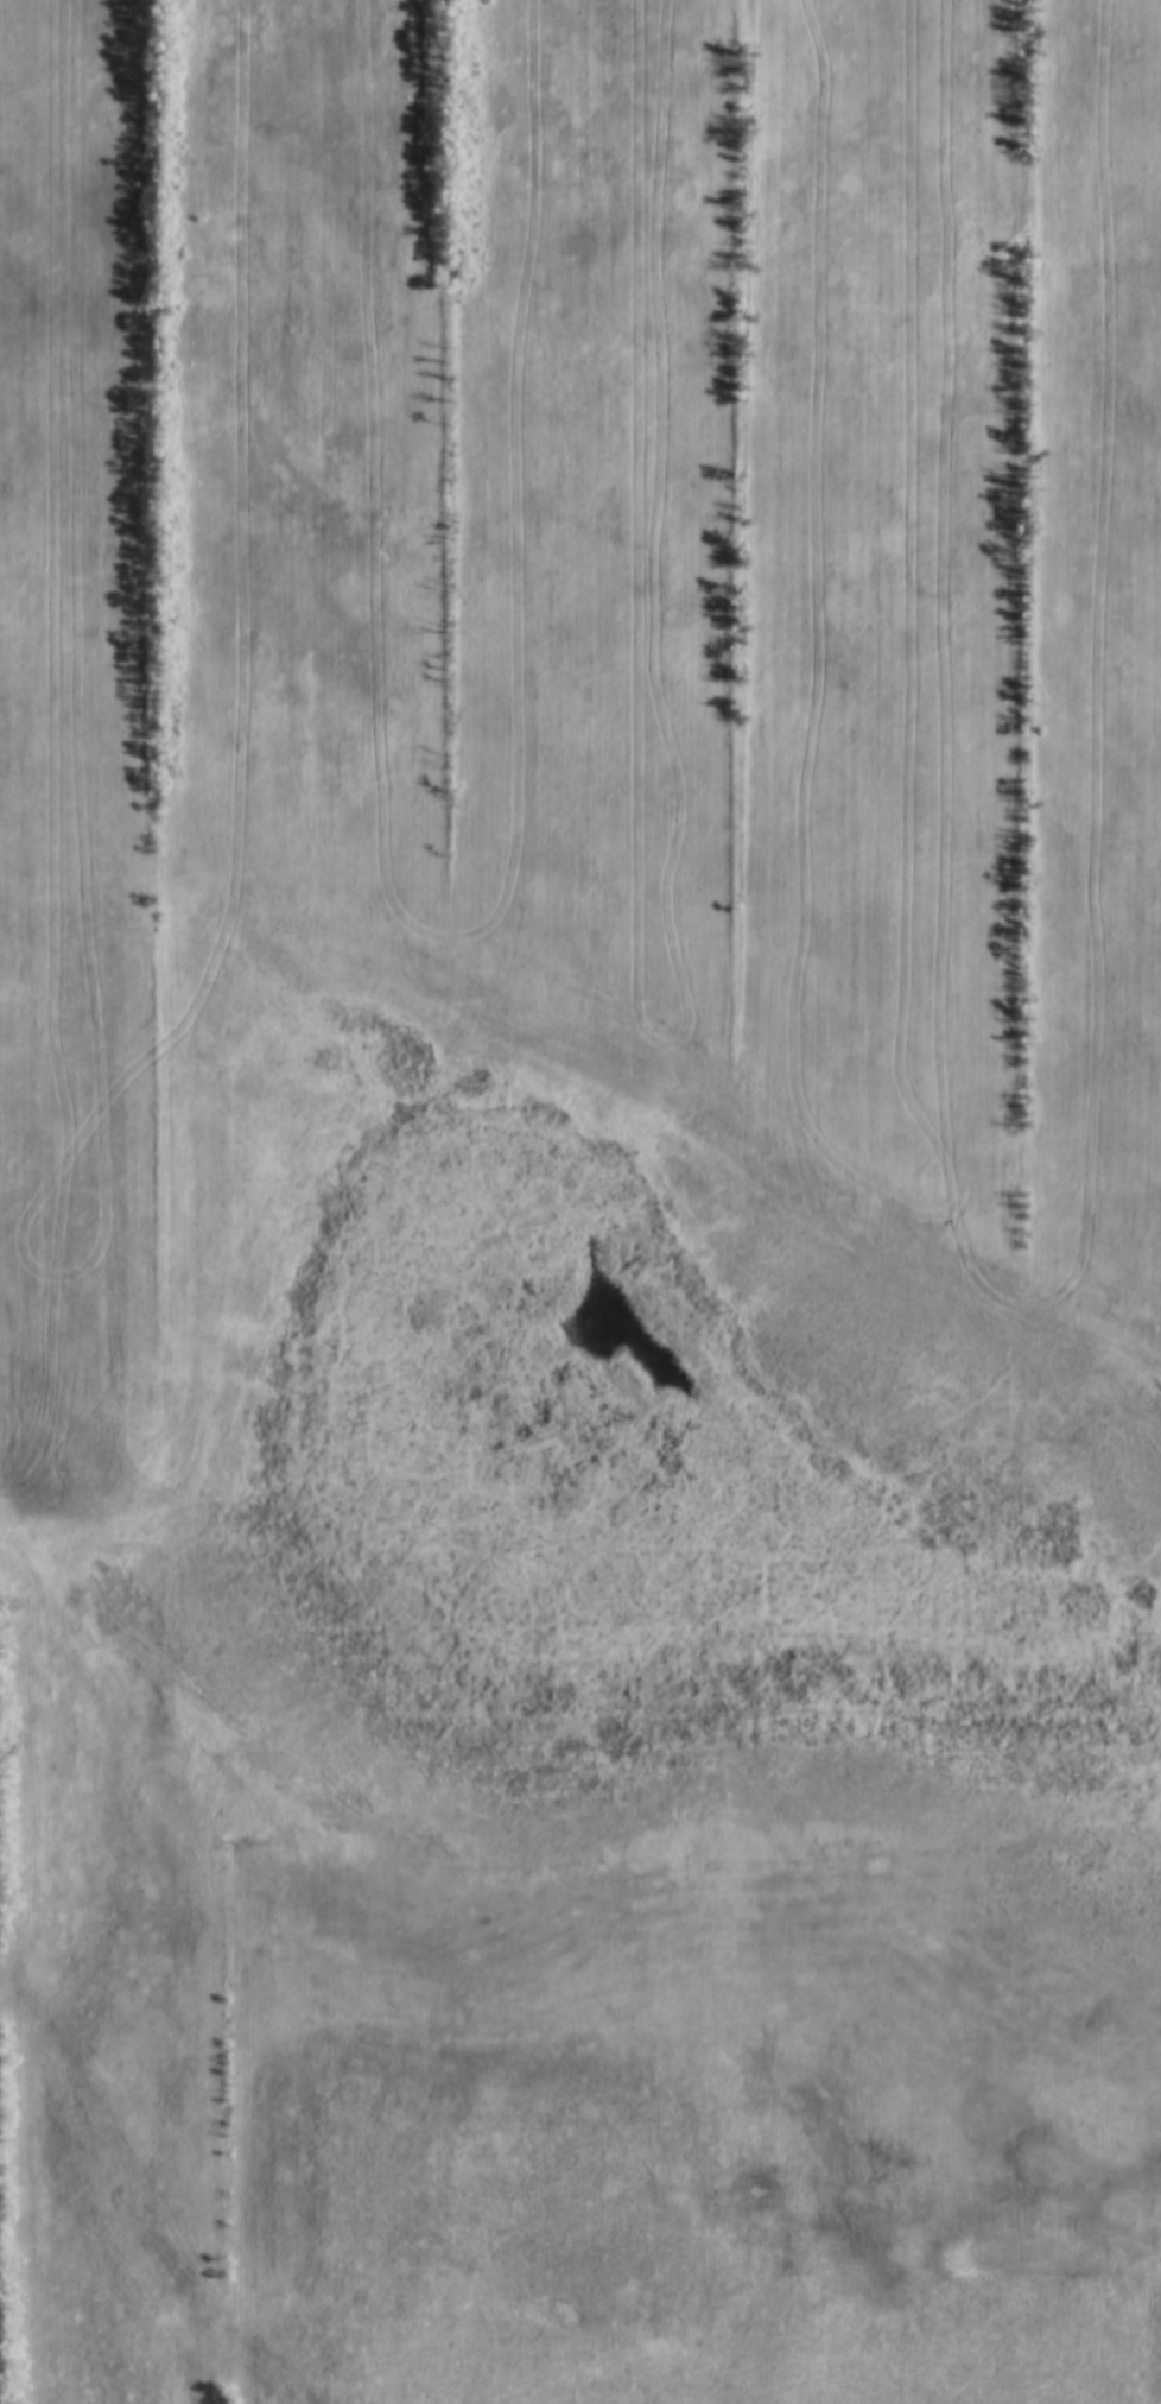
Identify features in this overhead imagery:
road: (250, 2391)

